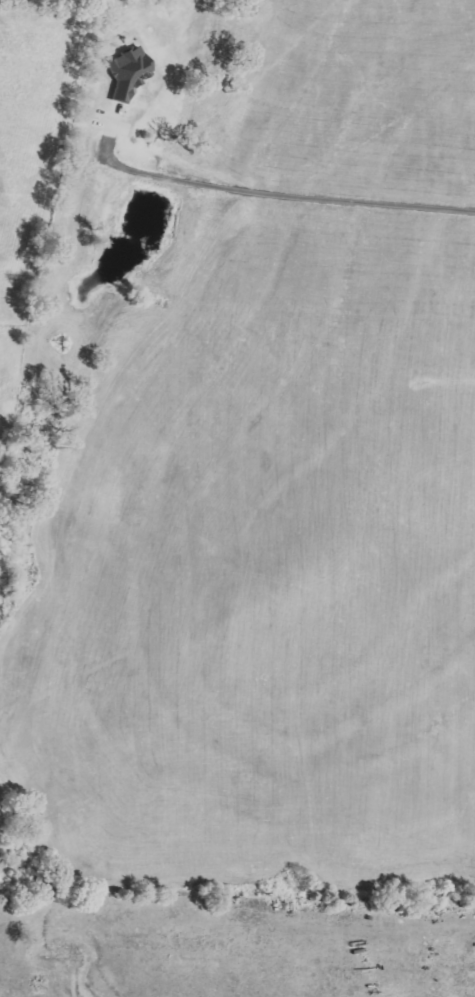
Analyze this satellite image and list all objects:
building: (129, 70)

